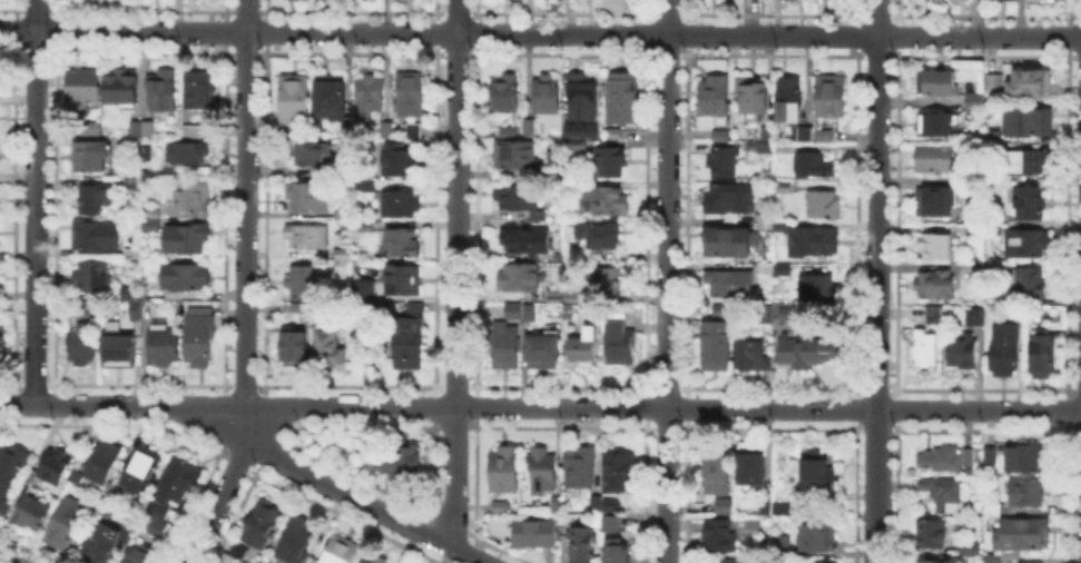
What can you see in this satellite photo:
building: (547, 0)
building: (1041, 0)
building: (963, 1)
building: (1002, 2)
road: (456, 17)
road: (876, 18)
road: (228, 32)
road: (666, 33)
road: (979, 36)
building: (990, 80)
building: (936, 83)
building: (996, 85)
building: (1033, 85)
building: (81, 90)
building: (121, 90)
building: (199, 91)
building: (161, 92)
building: (332, 93)
building: (412, 93)
building: (502, 95)
building: (548, 96)
building: (716, 96)
building: (831, 97)
building: (368, 98)
building: (583, 99)
building: (622, 99)
building: (753, 100)
building: (294, 101)
building: (789, 101)
building: (975, 105)
building: (1025, 120)
building: (934, 124)
building: (143, 128)
building: (530, 129)
building: (91, 130)
building: (385, 131)
building: (413, 131)
building: (567, 131)
building: (193, 132)
building: (508, 132)
building: (760, 134)
building: (824, 134)
building: (612, 135)
building: (800, 135)
building: (720, 136)
building: (990, 137)
building: (580, 147)
building: (765, 149)
building: (187, 155)
building: (314, 155)
building: (932, 156)
building: (90, 157)
building: (514, 157)
building: (1028, 162)
building: (611, 164)
building: (724, 164)
building: (400, 165)
building: (814, 166)
building: (547, 171)
building: (132, 186)
building: (366, 186)
building: (570, 187)
building: (972, 196)
building: (308, 197)
building: (193, 198)
building: (517, 198)
building: (96, 199)
building: (730, 200)
road: (33, 201)
road: (244, 203)
building: (605, 203)
building: (397, 204)
building: (935, 204)
building: (1031, 204)
building: (824, 206)
building: (342, 214)
building: (538, 216)
building: (150, 218)
road: (876, 223)
building: (367, 227)
building: (991, 230)
building: (969, 231)
building: (602, 236)
building: (97, 237)
building: (308, 237)
building: (187, 238)
building: (729, 240)
building: (400, 243)
building: (522, 243)
building: (813, 243)
building: (1025, 243)
building: (936, 246)
building: (132, 255)
building: (343, 255)
building: (775, 269)
building: (186, 277)
building: (519, 277)
building: (92, 278)
road: (666, 281)
building: (304, 283)
building: (404, 283)
building: (1028, 283)
building: (727, 284)
building: (599, 286)
building: (935, 286)
road: (454, 287)
building: (361, 288)
building: (817, 289)
building: (126, 294)
building: (553, 297)
building: (148, 299)
building: (302, 308)
building: (415, 308)
building: (89, 309)
building: (567, 310)
building: (132, 312)
building: (719, 312)
building: (521, 313)
building: (767, 315)
building: (789, 315)
building: (934, 317)
building: (973, 318)
building: (199, 337)
building: (619, 340)
building: (409, 343)
building: (82, 344)
building: (163, 344)
building: (326, 346)
building: (3, 347)
building: (715, 347)
building: (119, 348)
building: (294, 348)
building: (505, 348)
building: (582, 349)
building: (1003, 350)
building: (812, 352)
building: (926, 352)
building: (963, 352)
building: (544, 353)
building: (749, 354)
building: (1041, 355)
road: (438, 406)
road: (979, 409)
road: (244, 413)
building: (989, 456)
building: (945, 460)
building: (1025, 460)
building: (102, 462)
building: (401, 462)
building: (751, 466)
building: (9, 467)
building: (51, 467)
building: (580, 468)
building: (504, 470)
building: (717, 470)
building: (141, 471)
building: (544, 472)
building: (619, 473)
building: (816, 475)
building: (75, 480)
building: (178, 480)
road: (875, 486)
road: (213, 492)
building: (942, 493)
building: (1026, 495)
road: (360, 497)
building: (594, 504)
building: (611, 505)
building: (558, 506)
building: (723, 506)
building: (764, 507)
building: (782, 507)
building: (2, 508)
building: (156, 508)
building: (501, 508)
building: (991, 510)
building: (28, 513)
building: (63, 523)
building: (262, 523)
building: (610, 523)
building: (156, 529)
building: (537, 531)
building: (930, 534)
building: (720, 536)
building: (816, 536)
building: (1020, 537)
building: (102, 540)
building: (780, 541)
building: (297, 542)
building: (582, 543)
building: (342, 549)
building: (970, 550)
building: (617, 552)
building: (239, 553)
building: (140, 554)
building: (372, 559)
road: (2, 561)
building: (728, 562)
building: (823, 562)
building: (930, 562)

